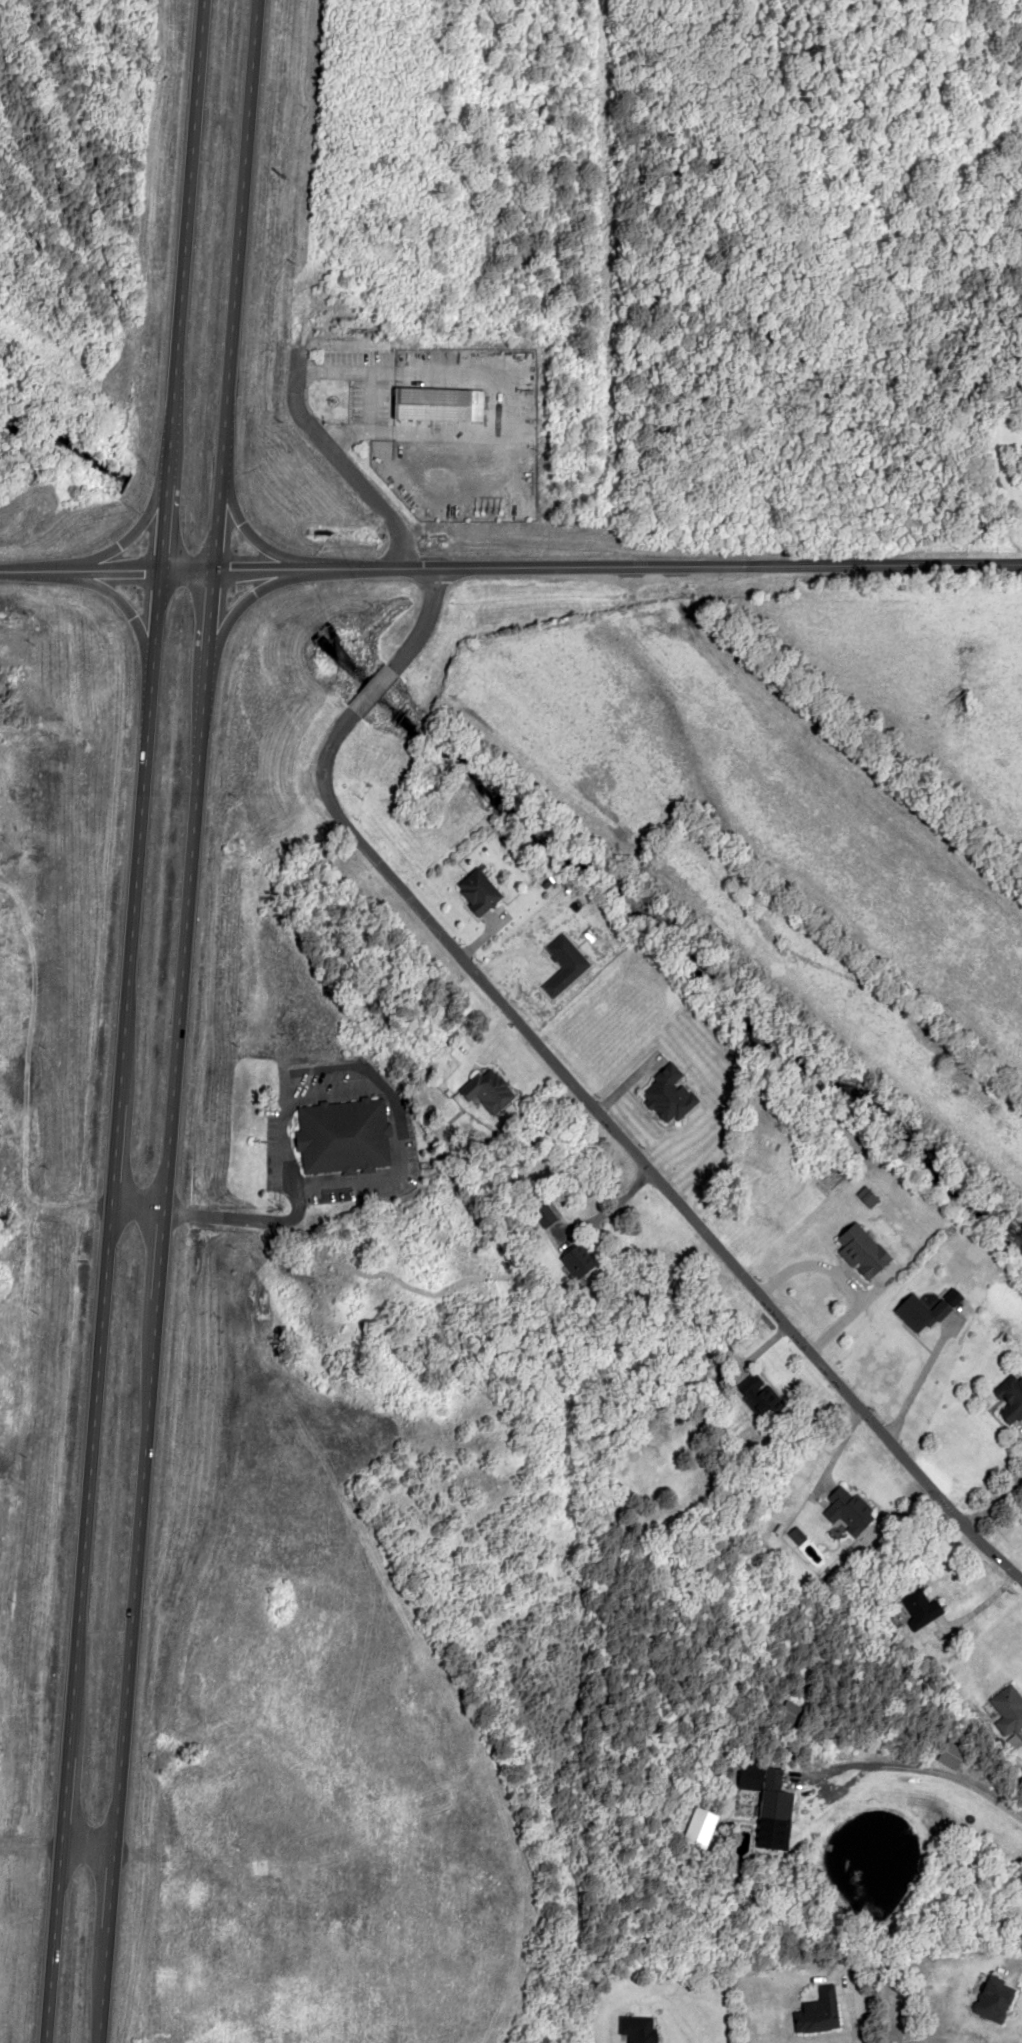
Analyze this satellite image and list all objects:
road: (177, 233)
road: (238, 233)
building: (437, 406)
road: (338, 461)
road: (155, 519)
road: (214, 519)
road: (248, 540)
road: (111, 548)
road: (510, 567)
road: (110, 599)
road: (236, 603)
road: (423, 622)
road: (146, 630)
road: (205, 630)
road: (369, 692)
building: (478, 891)
building: (563, 965)
building: (488, 1090)
building: (342, 1136)
road: (636, 1161)
building: (544, 1215)
building: (861, 1251)
building: (576, 1262)
building: (919, 1313)
road: (147, 1365)
road: (94, 1366)
building: (760, 1399)
building: (1011, 1400)
building: (847, 1510)
building: (920, 1608)
building: (1008, 1709)
building: (774, 1796)
building: (818, 2012)
building: (638, 2029)

